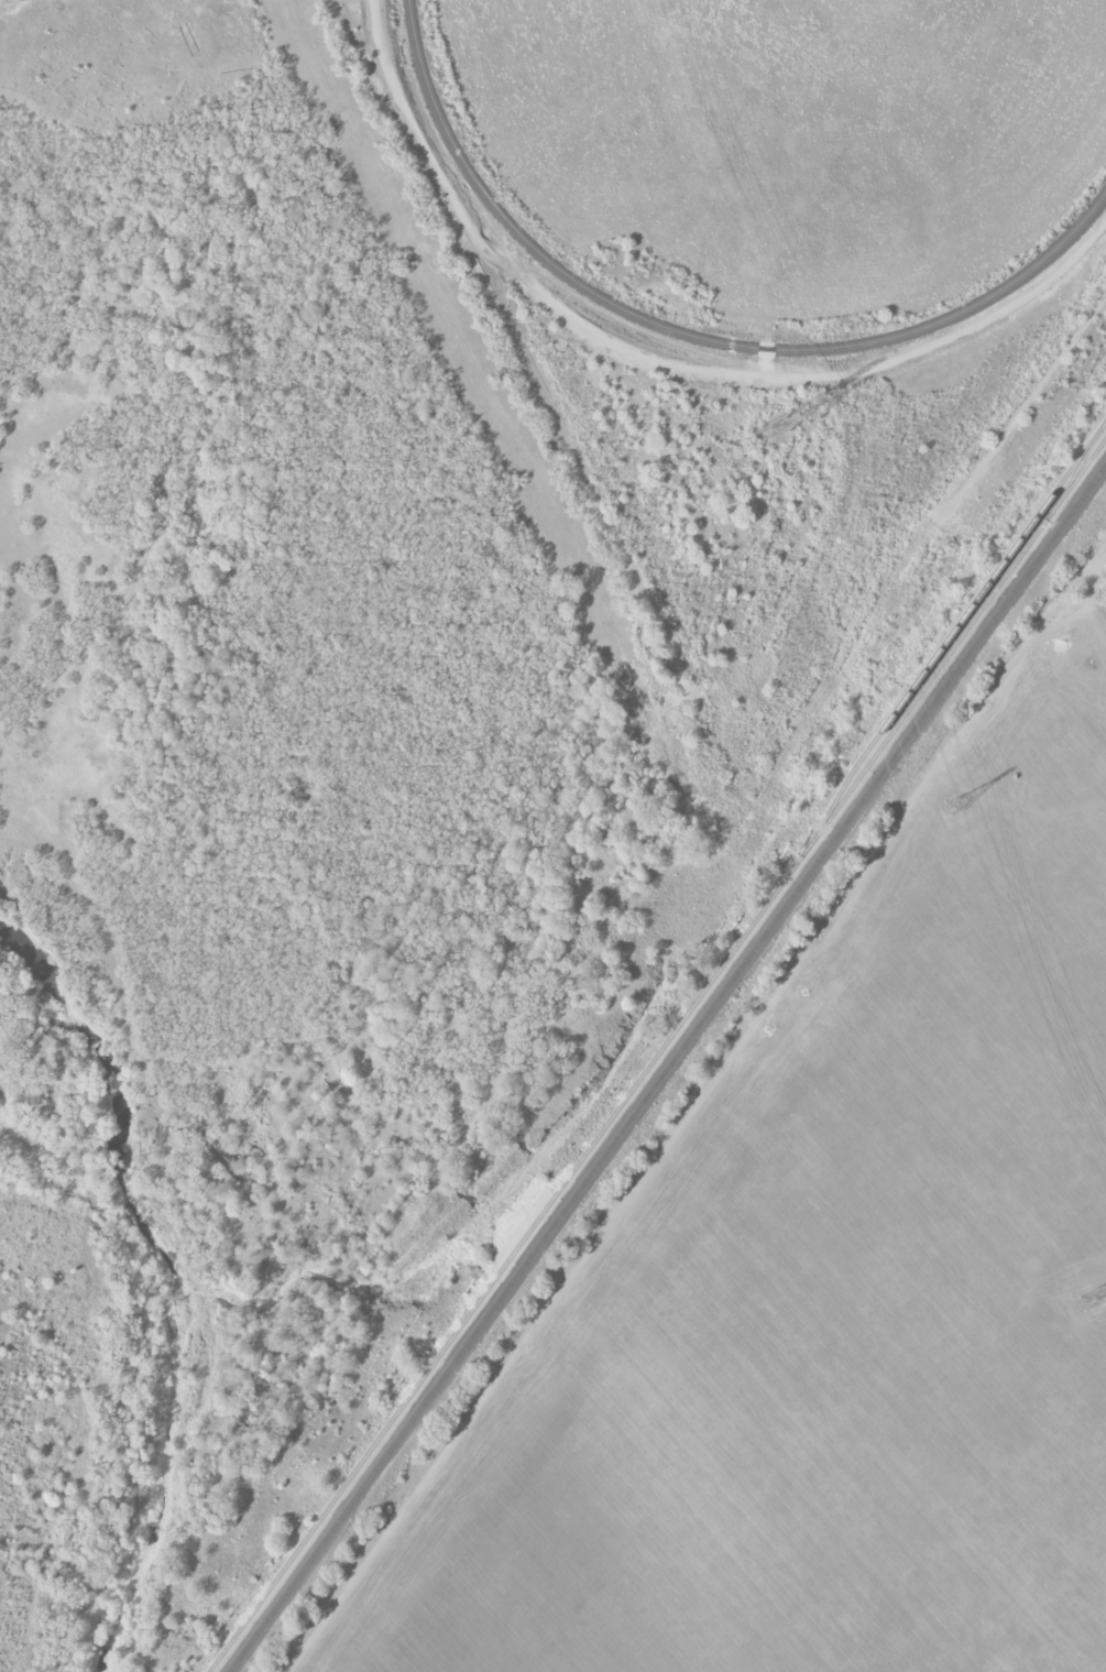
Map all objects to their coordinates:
railway: (690, 336)
power tower: (814, 416)
power tower: (781, 429)
railway: (950, 634)
power tower: (962, 808)
railway: (657, 1054)
railway: (668, 1070)
power tower: (1102, 1301)

